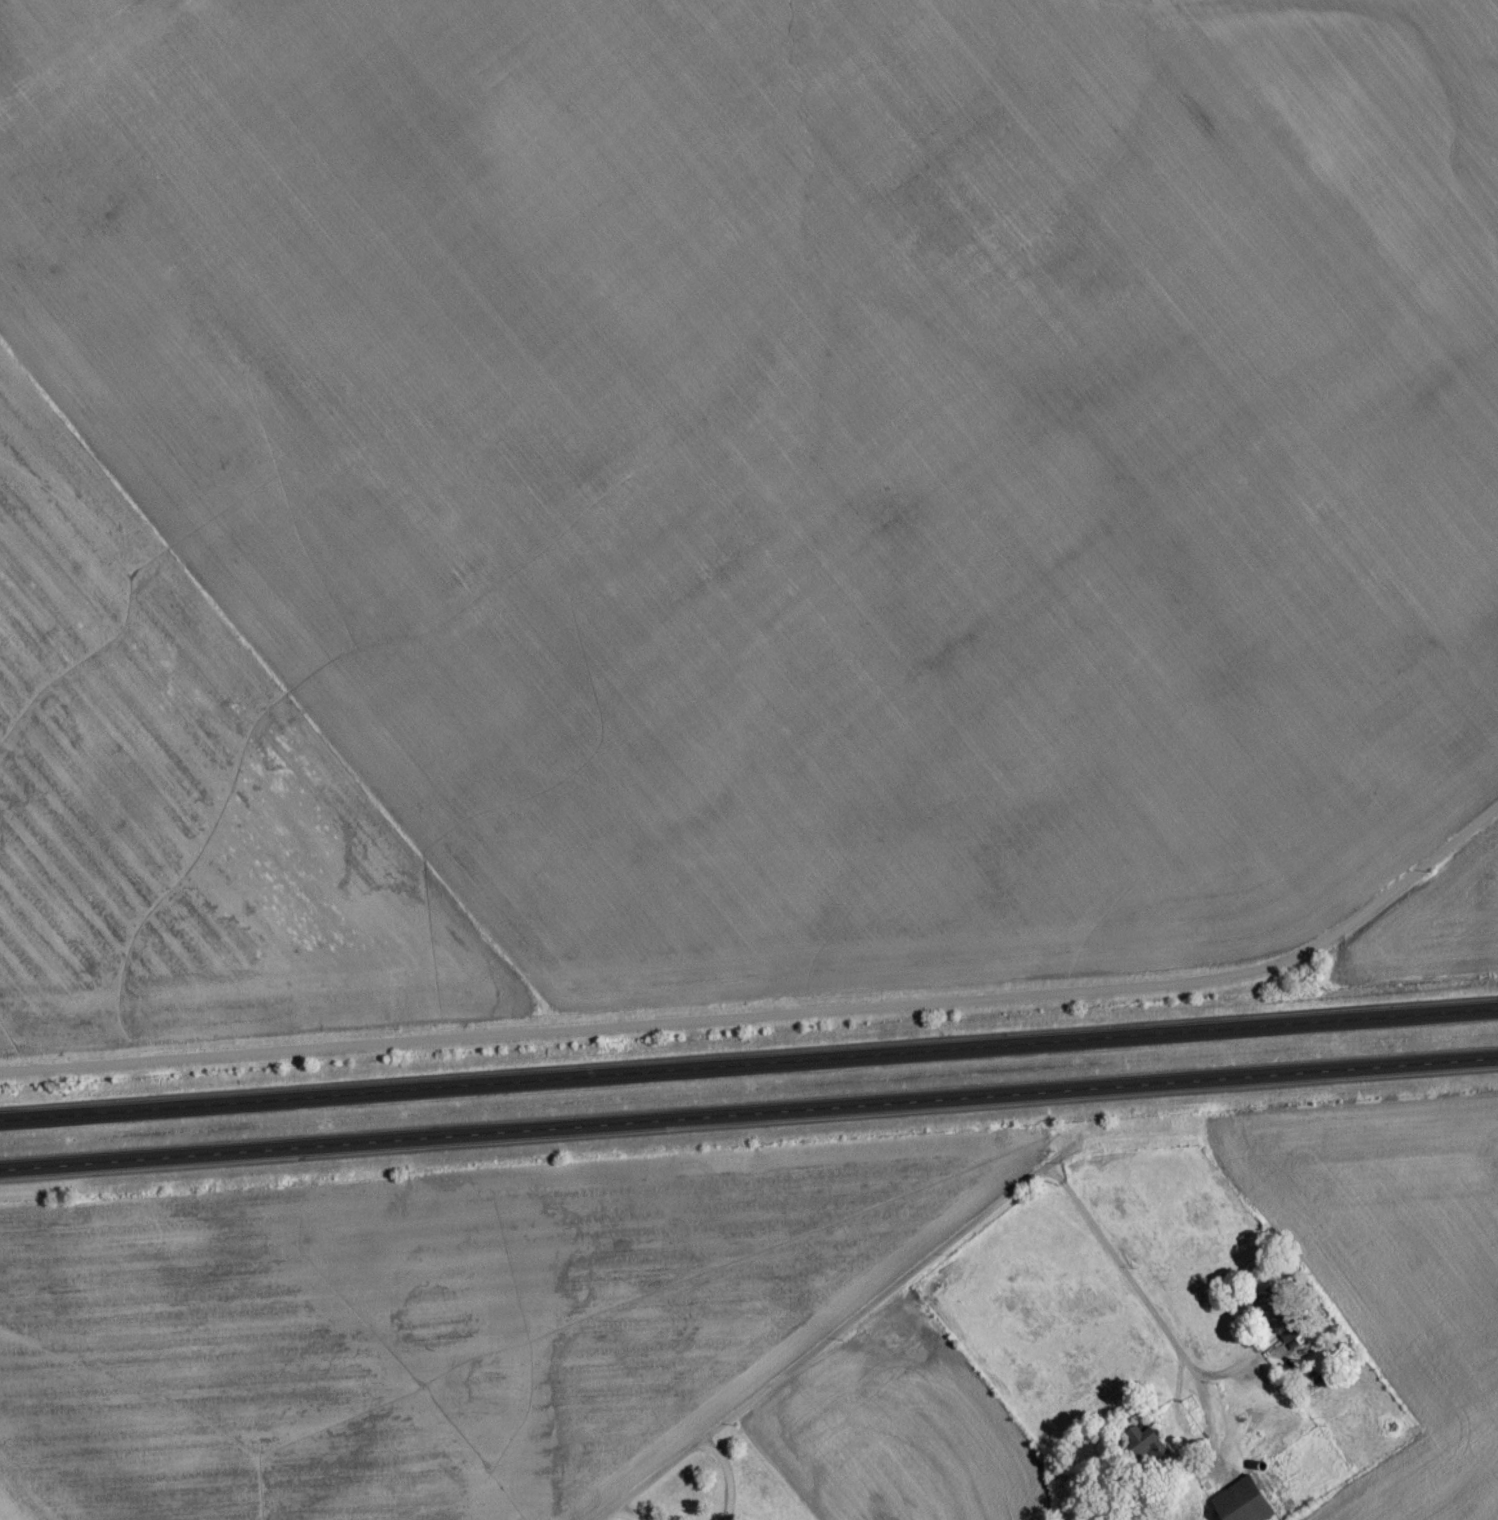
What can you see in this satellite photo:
road: (775, 1020)
road: (748, 1064)
road: (749, 1118)
road: (1116, 1272)
building: (1279, 1321)
road: (830, 1347)
building: (1146, 1443)
road: (729, 1478)
building: (1245, 1505)
road: (627, 1516)

